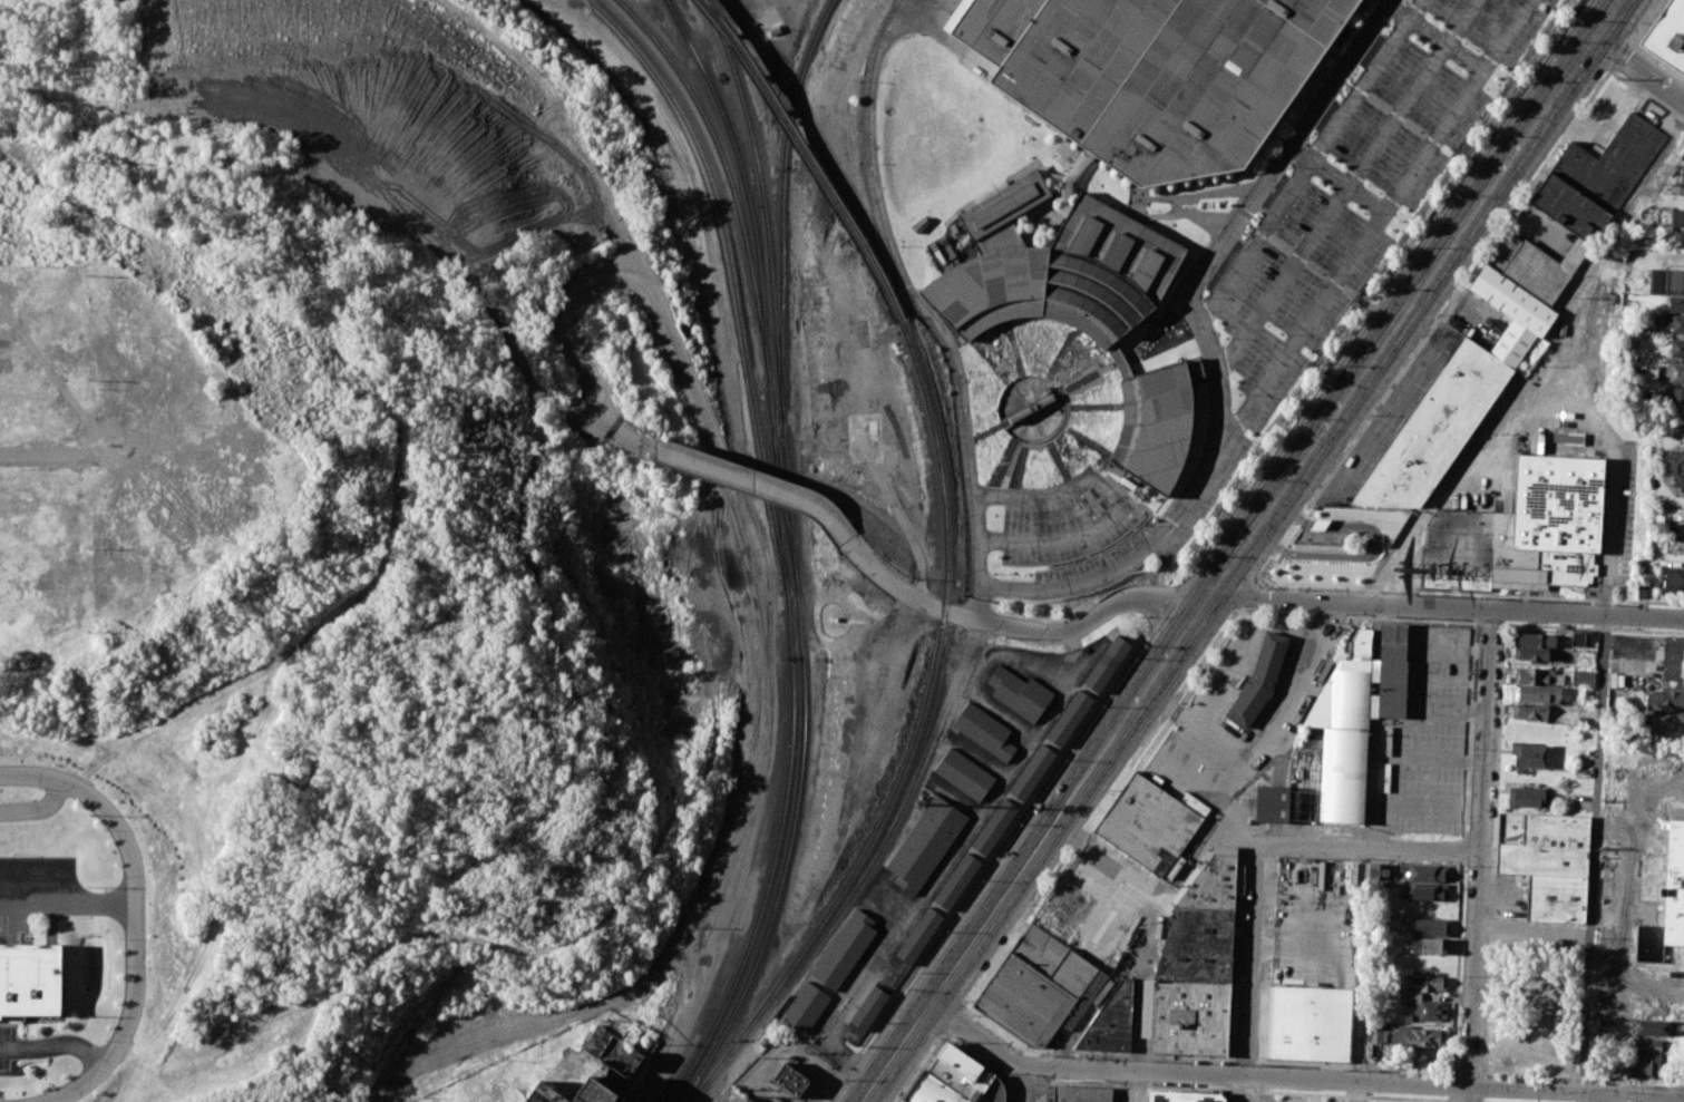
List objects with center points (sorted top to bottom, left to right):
road: (559, 2)
street lamp: (1576, 19)
parking lot: (1495, 22)
building: (991, 27)
building: (1666, 36)
road: (1434, 37)
road: (1629, 41)
road: (1636, 48)
road: (1619, 57)
road: (1642, 70)
building: (1164, 78)
road: (1646, 96)
street lamp: (1509, 117)
parking lot: (1402, 119)
street lamp: (1555, 146)
building: (1682, 153)
railway: (809, 155)
road: (1311, 160)
railway: (729, 176)
building: (1682, 176)
road: (1337, 178)
railway: (746, 184)
road: (1347, 185)
street lamp: (1454, 195)
railway: (763, 204)
railway: (782, 204)
road: (1247, 207)
building: (1574, 209)
railway: (1063, 216)
building: (1676, 218)
street lamp: (1490, 237)
building: (1678, 237)
building: (1055, 269)
railway: (733, 282)
building: (1666, 282)
road: (652, 295)
building: (1676, 305)
road: (917, 306)
road: (1413, 309)
building: (1675, 324)
road: (1433, 325)
street lamp: (1423, 335)
railway: (1169, 345)
road: (1289, 348)
railway: (1015, 349)
building: (1676, 350)
railway: (1061, 354)
railway: (991, 362)
building: (1194, 368)
building: (1674, 373)
parking lot: (1266, 382)
railway: (1080, 384)
street lamp: (1325, 386)
building: (1673, 396)
building: (1458, 400)
railway: (1093, 408)
street lamp: (1369, 416)
building: (1154, 426)
railway: (991, 432)
railway: (1086, 440)
railway: (1041, 441)
road: (635, 442)
road: (47, 455)
park: (1661, 459)
railway: (1058, 460)
railway: (1004, 462)
railway: (1022, 466)
railway: (1179, 471)
street lamp: (1260, 480)
road: (762, 485)
street lamp: (1305, 504)
road: (1116, 505)
railway: (783, 509)
building: (1525, 527)
building: (1676, 530)
building: (1324, 536)
street lamp: (1206, 557)
street lamp: (1258, 573)
building: (1674, 581)
road: (1364, 589)
building: (1643, 589)
road: (1246, 594)
road: (1577, 598)
road: (1449, 606)
road: (1474, 607)
road: (1238, 608)
street lamp: (1247, 612)
street lamp: (1344, 614)
street lamp: (1441, 618)
road: (1489, 622)
street lamp: (1528, 623)
road: (1016, 627)
road: (1593, 627)
street lamp: (1613, 627)
building: (1577, 638)
building: (1536, 640)
street lamp: (1143, 647)
building: (1536, 653)
railway: (810, 657)
building: (1108, 664)
building: (1668, 664)
street lamp: (1188, 675)
building: (1536, 676)
building: (1584, 677)
building: (1260, 682)
building: (1020, 692)
building: (1538, 693)
building: (1668, 700)
road: (1415, 711)
building: (1529, 711)
building: (1070, 719)
building: (1668, 719)
road: (1468, 728)
building: (984, 730)
road: (1278, 730)
building: (1343, 733)
road: (1598, 733)
railway: (916, 739)
street lamp: (1471, 749)
building: (1528, 753)
railway: (790, 754)
road: (1403, 757)
street lamp: (1064, 761)
railway: (799, 771)
building: (1033, 772)
building: (965, 774)
street lamp: (1108, 792)
building: (1526, 797)
road: (38, 808)
road: (1415, 809)
road: (1087, 823)
road: (1376, 826)
building: (1644, 826)
building: (1149, 827)
building: (995, 828)
building: (926, 843)
road: (1369, 843)
road: (1492, 849)
road: (1461, 850)
road: (1479, 855)
road: (1031, 859)
road: (948, 864)
street lamp: (1466, 866)
building: (1550, 867)
building: (1378, 871)
building: (1424, 871)
building: (957, 881)
street lamp: (981, 881)
building: (1425, 891)
building: (1673, 900)
road: (66, 901)
street lamp: (1028, 906)
road: (132, 915)
building: (1430, 926)
building: (921, 937)
building: (1429, 946)
building: (845, 948)
building: (1198, 965)
road: (1250, 971)
street lamp: (916, 974)
street lamp: (1461, 978)
building: (30, 981)
building: (1427, 983)
building: (1047, 984)
street lamp: (963, 1004)
building: (806, 1006)
building: (1427, 1007)
building: (869, 1008)
road: (965, 1008)
street lamp: (970, 1015)
building: (1405, 1018)
road: (955, 1021)
building: (1112, 1023)
building: (1312, 1024)
building: (1649, 1027)
building: (854, 1031)
building: (1378, 1036)
building: (1418, 1036)
road: (53, 1044)
building: (1646, 1045)
street lamp: (1458, 1055)
street lamp: (1052, 1056)
road: (977, 1060)
street lamp: (1150, 1061)
road: (1245, 1063)
road: (1452, 1063)
building: (1649, 1063)
street lamp: (1263, 1065)
road: (924, 1067)
street lamp: (1364, 1070)
road: (1452, 1070)
building: (593, 1071)
road: (1467, 1071)
road: (1580, 1074)
street lamp: (1486, 1076)
road: (1296, 1077)
road: (1028, 1079)
building: (792, 1080)
building: (953, 1080)
street lamp: (1571, 1080)
street lamp: (843, 1081)
road: (1683, 1083)
road: (1139, 1084)
road: (1451, 1084)
road: (1136, 1085)
street lamp: (1682, 1085)
road: (1232, 1086)
road: (1480, 1086)
road: (1031, 1088)
road: (1041, 1089)
building: (1182, 1093)
building: (1082, 1094)
road: (1230, 1094)
road: (1683, 1094)
road: (1354, 1095)
road: (1256, 1096)
road: (1480, 1100)
building: (749, 1101)
road: (1453, 1101)
road: (1467, 1101)
road: (1478, 1101)

